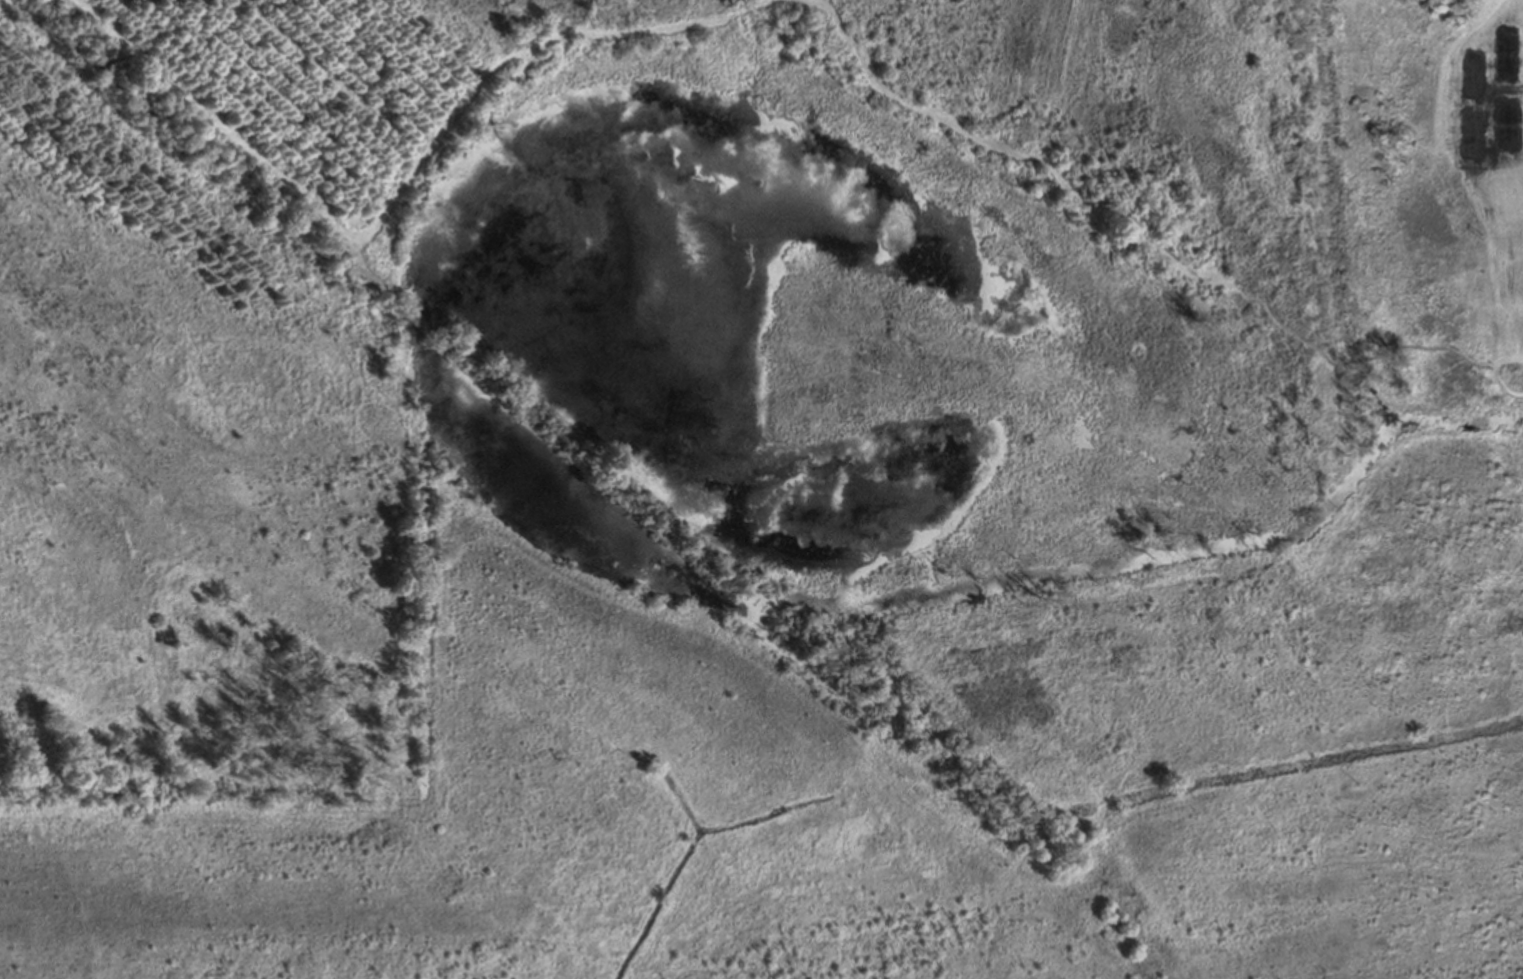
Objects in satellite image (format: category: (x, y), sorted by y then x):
park: (1421, 203)

